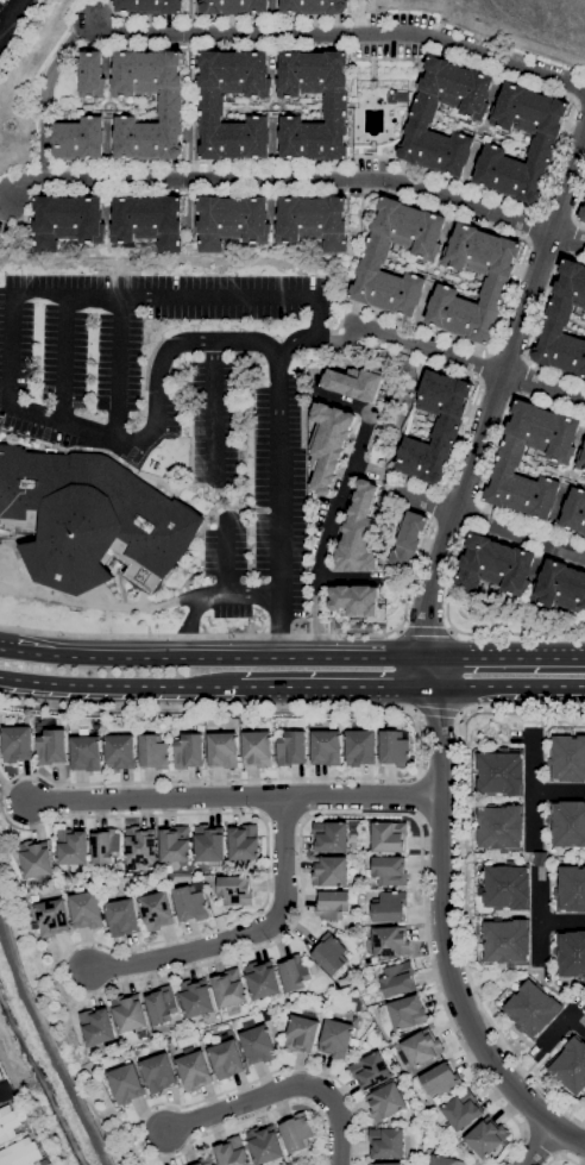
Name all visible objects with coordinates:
building: (150, 6)
building: (234, 6)
building: (314, 6)
road: (359, 17)
road: (12, 18)
road: (238, 18)
road: (339, 33)
road: (224, 46)
building: (92, 74)
building: (435, 75)
building: (449, 83)
building: (480, 86)
building: (461, 88)
road: (48, 90)
building: (397, 96)
building: (511, 96)
building: (427, 100)
building: (171, 106)
building: (212, 106)
building: (336, 107)
road: (408, 107)
building: (474, 108)
building: (526, 109)
building: (537, 113)
building: (554, 115)
building: (421, 117)
building: (503, 118)
building: (78, 139)
building: (545, 140)
building: (411, 143)
building: (460, 144)
building: (428, 149)
building: (439, 152)
building: (492, 155)
building: (539, 157)
building: (454, 164)
building: (485, 174)
building: (503, 174)
road: (296, 178)
building: (515, 178)
building: (530, 183)
road: (464, 186)
road: (422, 202)
road: (575, 207)
building: (581, 214)
building: (386, 215)
building: (69, 220)
building: (149, 220)
building: (233, 221)
building: (315, 221)
building: (402, 224)
building: (433, 226)
building: (414, 227)
building: (464, 237)
building: (379, 242)
road: (359, 249)
building: (427, 249)
building: (478, 250)
building: (490, 255)
building: (373, 257)
building: (455, 257)
building: (507, 257)
building: (570, 278)
building: (496, 281)
building: (364, 283)
building: (413, 284)
building: (380, 289)
building: (391, 293)
building: (580, 294)
building: (445, 295)
road: (107, 296)
building: (491, 297)
building: (405, 303)
building: (561, 303)
building: (438, 314)
building: (455, 314)
building: (467, 319)
building: (555, 320)
building: (484, 324)
road: (536, 325)
road: (346, 338)
building: (547, 345)
building: (584, 350)
building: (562, 351)
building: (573, 356)
road: (64, 359)
road: (464, 359)
building: (580, 367)
road: (118, 368)
building: (353, 383)
building: (427, 389)
road: (495, 392)
road: (512, 392)
building: (440, 394)
building: (458, 396)
parking lot: (180, 397)
road: (341, 402)
road: (214, 409)
building: (522, 419)
building: (448, 421)
building: (536, 427)
building: (567, 430)
building: (548, 431)
road: (464, 434)
building: (444, 438)
building: (514, 444)
building: (328, 445)
building: (561, 452)
building: (405, 455)
building: (419, 459)
building: (508, 461)
building: (581, 461)
building: (435, 464)
road: (487, 465)
building: (498, 486)
building: (547, 488)
building: (515, 491)
building: (526, 496)
building: (577, 499)
building: (540, 508)
building: (572, 518)
building: (90, 519)
road: (487, 520)
building: (583, 527)
building: (359, 530)
road: (332, 533)
building: (409, 539)
building: (495, 565)
road: (350, 578)
road: (227, 584)
building: (560, 587)
building: (353, 600)
road: (191, 613)
road: (426, 630)
road: (520, 632)
road: (199, 634)
road: (279, 639)
road: (213, 656)
road: (507, 656)
road: (124, 687)
road: (341, 688)
road: (509, 688)
road: (540, 697)
road: (435, 710)
building: (17, 741)
building: (52, 746)
building: (292, 747)
building: (327, 747)
building: (360, 747)
building: (395, 747)
building: (258, 749)
building: (224, 750)
building: (155, 751)
building: (189, 751)
building: (120, 752)
building: (86, 753)
building: (567, 758)
road: (439, 770)
building: (502, 772)
road: (301, 779)
road: (534, 788)
road: (560, 790)
road: (417, 795)
road: (233, 797)
road: (308, 797)
road: (439, 818)
building: (567, 822)
building: (501, 828)
building: (331, 835)
building: (388, 837)
building: (209, 843)
building: (244, 843)
building: (140, 844)
building: (175, 844)
building: (105, 847)
building: (71, 848)
building: (37, 858)
building: (541, 858)
road: (537, 860)
building: (390, 870)
building: (331, 871)
road: (461, 877)
building: (508, 887)
building: (571, 889)
building: (234, 890)
building: (190, 903)
building: (332, 904)
building: (390, 907)
building: (87, 909)
building: (157, 910)
building: (122, 916)
building: (52, 917)
road: (296, 917)
road: (540, 920)
road: (562, 922)
road: (446, 926)
road: (243, 934)
building: (391, 941)
building: (508, 941)
building: (571, 952)
building: (331, 953)
building: (295, 972)
building: (262, 979)
building: (397, 979)
building: (228, 990)
road: (555, 990)
building: (196, 997)
building: (162, 1004)
building: (533, 1009)
building: (408, 1011)
building: (128, 1013)
building: (265, 1015)
road: (578, 1022)
building: (96, 1026)
building: (301, 1034)
road: (553, 1036)
building: (338, 1038)
building: (169, 1040)
building: (258, 1044)
building: (422, 1047)
building: (226, 1059)
building: (571, 1065)
building: (194, 1069)
building: (370, 1070)
road: (524, 1071)
building: (158, 1072)
building: (0, 1075)
building: (441, 1079)
building: (126, 1083)
road: (2, 1088)
road: (281, 1090)
building: (386, 1101)
road: (147, 1109)
building: (463, 1109)
road: (540, 1119)
building: (8, 1123)
building: (296, 1133)
road: (568, 1135)
building: (486, 1136)
building: (386, 1142)
building: (264, 1144)
road: (537, 1145)
road: (537, 1146)
building: (232, 1152)
building: (20, 1153)
road: (565, 1155)
building: (205, 1160)
building: (445, 1160)
building: (44, 1161)
building: (386, 1164)

